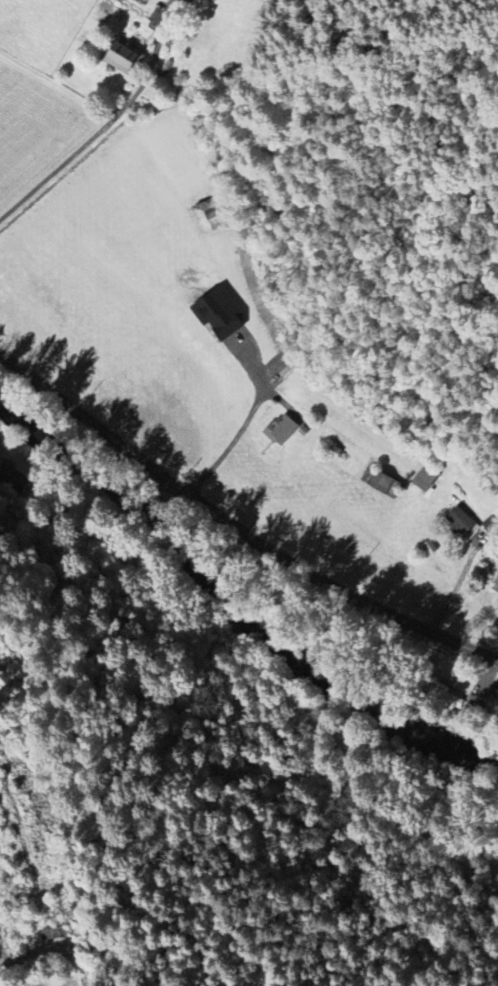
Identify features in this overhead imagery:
building: (122, 57)
road: (58, 167)
building: (219, 313)
building: (281, 429)
road: (226, 452)
building: (426, 476)
building: (377, 481)
building: (459, 523)
road: (237, 528)
road: (457, 588)
building: (445, 695)
building: (472, 711)
building: (54, 933)

